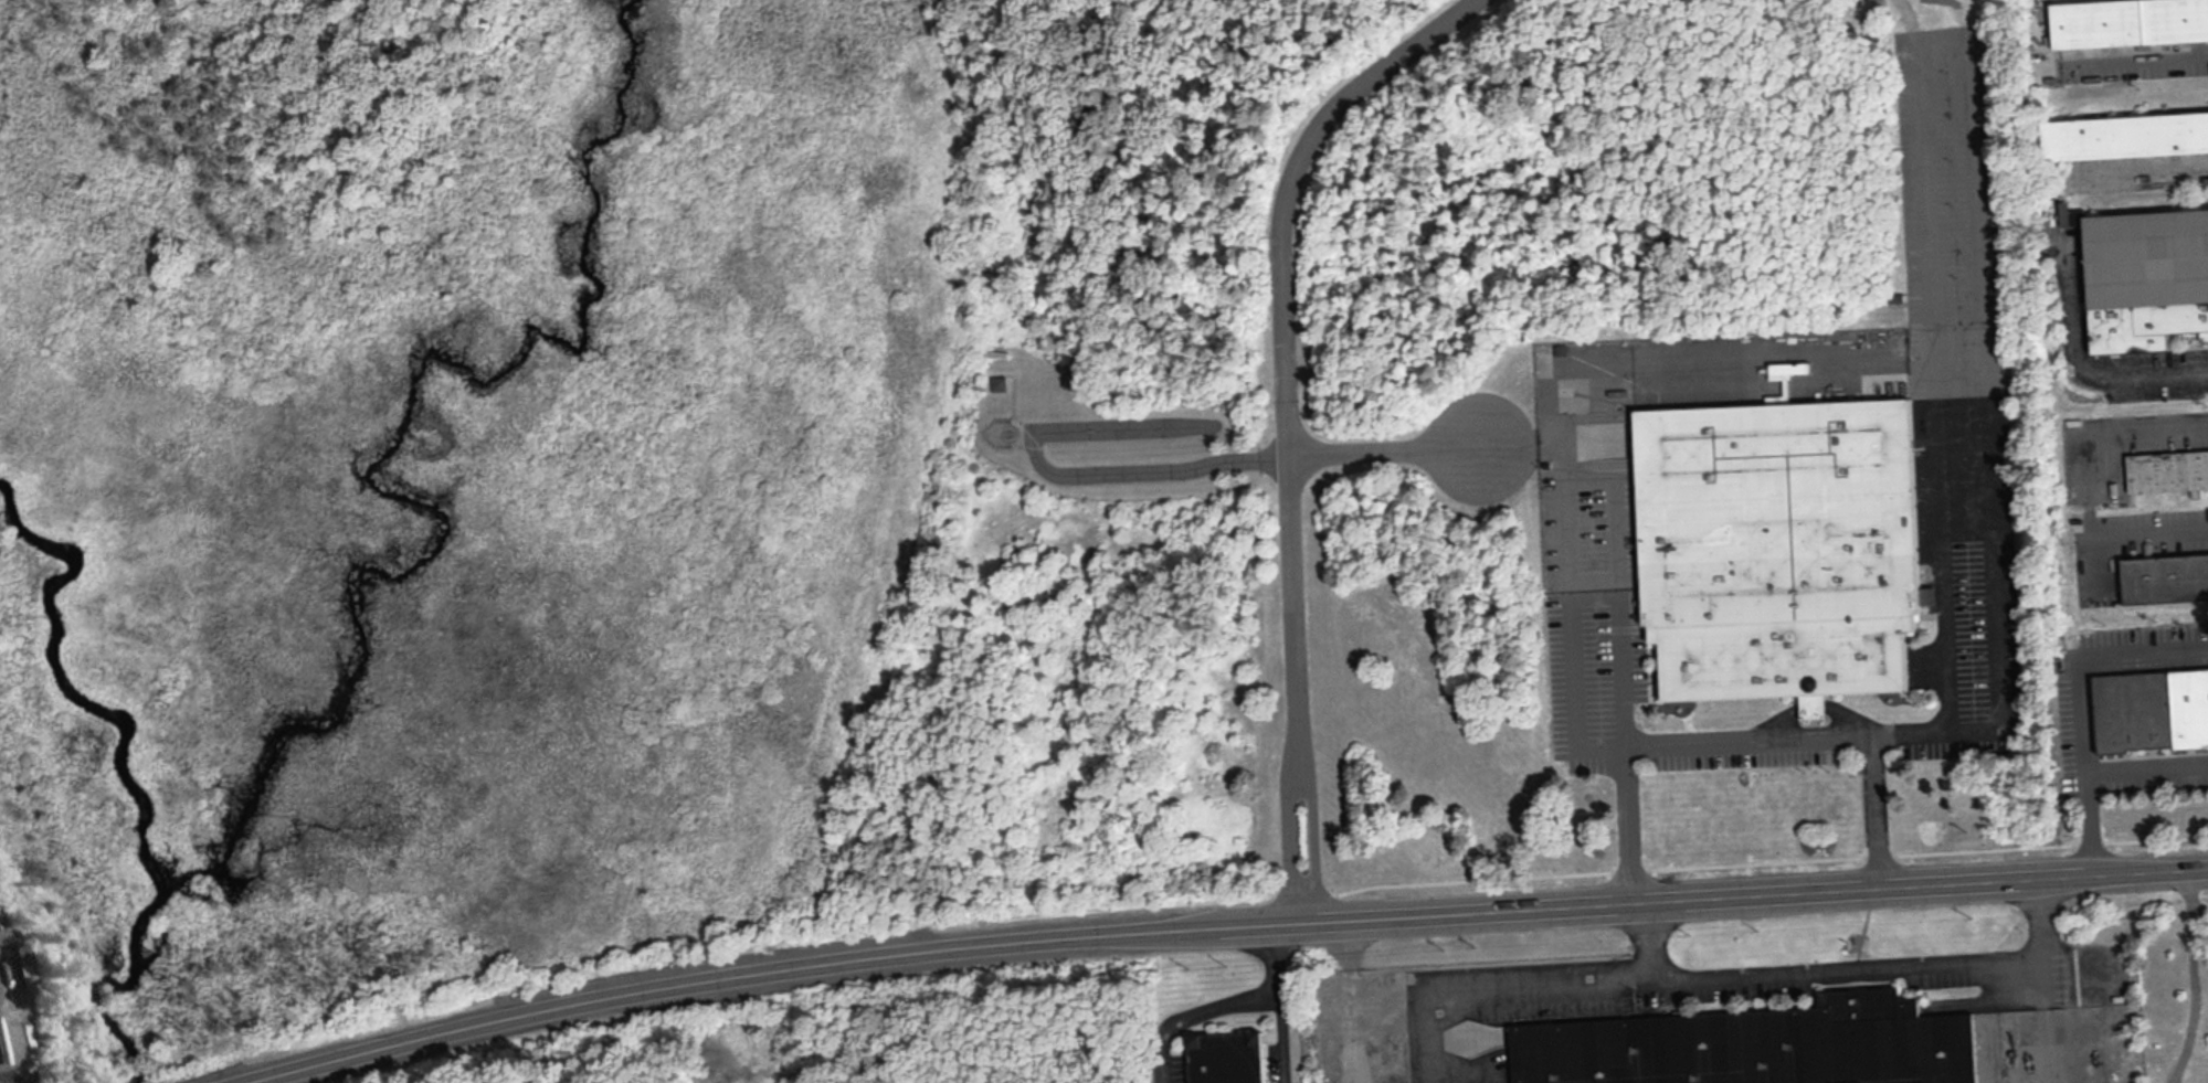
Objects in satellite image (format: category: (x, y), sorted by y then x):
building: (2128, 21)
road: (2138, 59)
building: (2126, 135)
building: (2145, 275)
road: (1290, 346)
road: (1783, 362)
road: (2080, 369)
building: (999, 382)
road: (2127, 431)
road: (1384, 453)
building: (2168, 470)
road: (1073, 471)
road: (1989, 522)
road: (2126, 530)
building: (1781, 546)
building: (2165, 576)
road: (1941, 603)
road: (1574, 654)
road: (2080, 707)
building: (2152, 709)
road: (1747, 746)
road: (2145, 764)
road: (1318, 843)
road: (1288, 845)
road: (1218, 925)
road: (1282, 955)
building: (19, 966)
road: (1847, 969)
road: (2196, 976)
road: (2042, 980)
road: (1500, 981)
road: (1196, 1010)
park: (867, 1036)
road: (1287, 1038)
building: (1757, 1044)
building: (1227, 1057)

